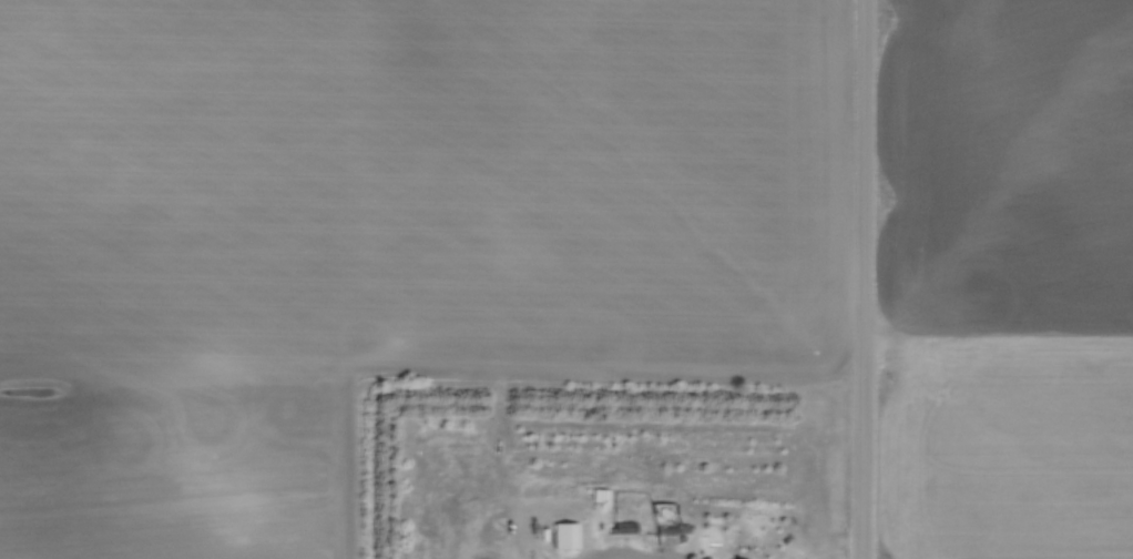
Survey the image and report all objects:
crop: (417, 217)
road: (864, 278)
crop: (1008, 278)
road: (494, 464)
silo: (507, 521)
building: (621, 524)
silo: (502, 527)
building: (561, 531)
building: (663, 531)
silo: (500, 535)
silo: (490, 539)
silo: (503, 547)
road: (470, 549)
road: (615, 555)
road: (544, 557)

